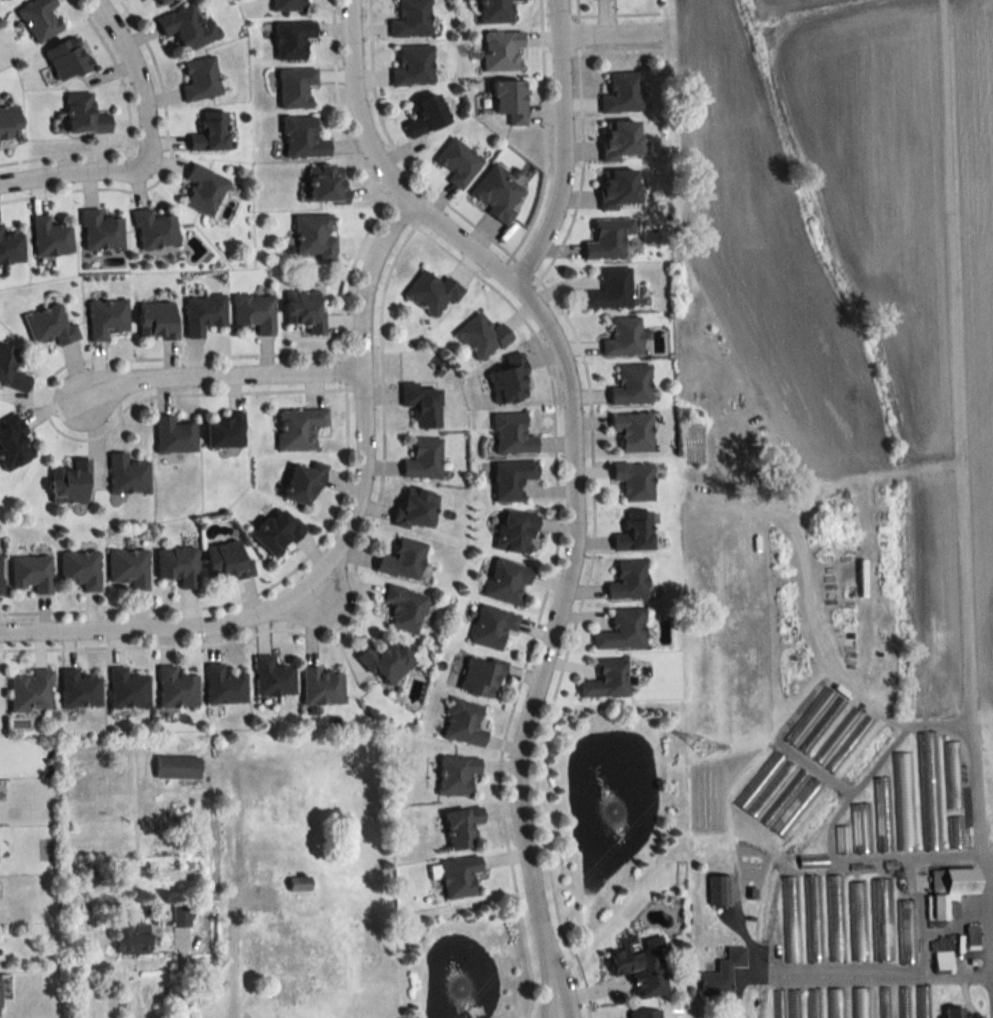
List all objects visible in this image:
building: (7, 0)
building: (160, 2)
building: (288, 5)
building: (497, 11)
building: (39, 19)
building: (411, 19)
building: (187, 28)
road: (604, 37)
building: (292, 38)
building: (502, 51)
building: (67, 59)
building: (413, 66)
road: (136, 74)
building: (200, 79)
building: (295, 86)
building: (622, 93)
building: (509, 99)
building: (83, 113)
building: (425, 115)
building: (9, 120)
building: (210, 131)
building: (302, 137)
building: (620, 139)
road: (552, 147)
building: (457, 162)
road: (76, 175)
building: (326, 183)
building: (203, 188)
building: (619, 188)
building: (497, 191)
building: (153, 229)
building: (100, 230)
building: (314, 235)
building: (50, 236)
building: (609, 238)
building: (11, 248)
crop: (766, 248)
crop: (914, 269)
building: (610, 289)
building: (431, 292)
building: (303, 308)
building: (254, 311)
building: (203, 313)
building: (106, 317)
building: (156, 319)
building: (48, 326)
building: (481, 336)
building: (623, 337)
building: (11, 369)
building: (509, 379)
road: (220, 383)
building: (631, 385)
road: (366, 399)
building: (421, 403)
building: (298, 428)
building: (223, 431)
building: (633, 431)
building: (511, 434)
building: (173, 435)
building: (13, 442)
road: (570, 452)
building: (422, 458)
building: (126, 474)
building: (511, 479)
building: (634, 480)
building: (69, 481)
building: (303, 483)
building: (415, 507)
building: (277, 531)
building: (634, 531)
building: (516, 532)
building: (402, 559)
building: (228, 560)
building: (177, 564)
building: (128, 566)
building: (79, 569)
building: (30, 572)
building: (0, 576)
building: (628, 580)
building: (506, 581)
building: (405, 608)
road: (162, 620)
building: (491, 626)
building: (621, 629)
building: (385, 660)
building: (272, 677)
building: (480, 677)
building: (606, 679)
building: (224, 685)
building: (322, 686)
building: (176, 687)
building: (79, 688)
building: (127, 689)
building: (29, 690)
building: (814, 720)
building: (463, 722)
building: (835, 735)
building: (847, 744)
power tower: (700, 748)
building: (177, 766)
building: (456, 773)
building: (950, 774)
road: (867, 776)
building: (769, 788)
building: (926, 790)
building: (901, 801)
building: (795, 806)
building: (279, 807)
building: (880, 814)
building: (462, 826)
building: (859, 828)
building: (952, 831)
building: (840, 839)
building: (810, 860)
building: (459, 875)
building: (718, 889)
building: (948, 889)
building: (833, 917)
building: (811, 918)
building: (789, 919)
building: (880, 919)
building: (855, 921)
building: (905, 931)
building: (970, 936)
road: (986, 936)
building: (132, 938)
building: (941, 942)
building: (288, 950)
building: (942, 961)
building: (639, 970)
building: (721, 973)
road: (844, 975)
road: (230, 986)
road: (181, 987)
road: (547, 1000)
road: (558, 1000)
building: (858, 1002)
building: (882, 1002)
building: (901, 1002)
building: (921, 1002)
building: (776, 1003)
building: (792, 1003)
building: (811, 1003)
building: (834, 1003)
building: (953, 1012)
building: (644, 1013)

